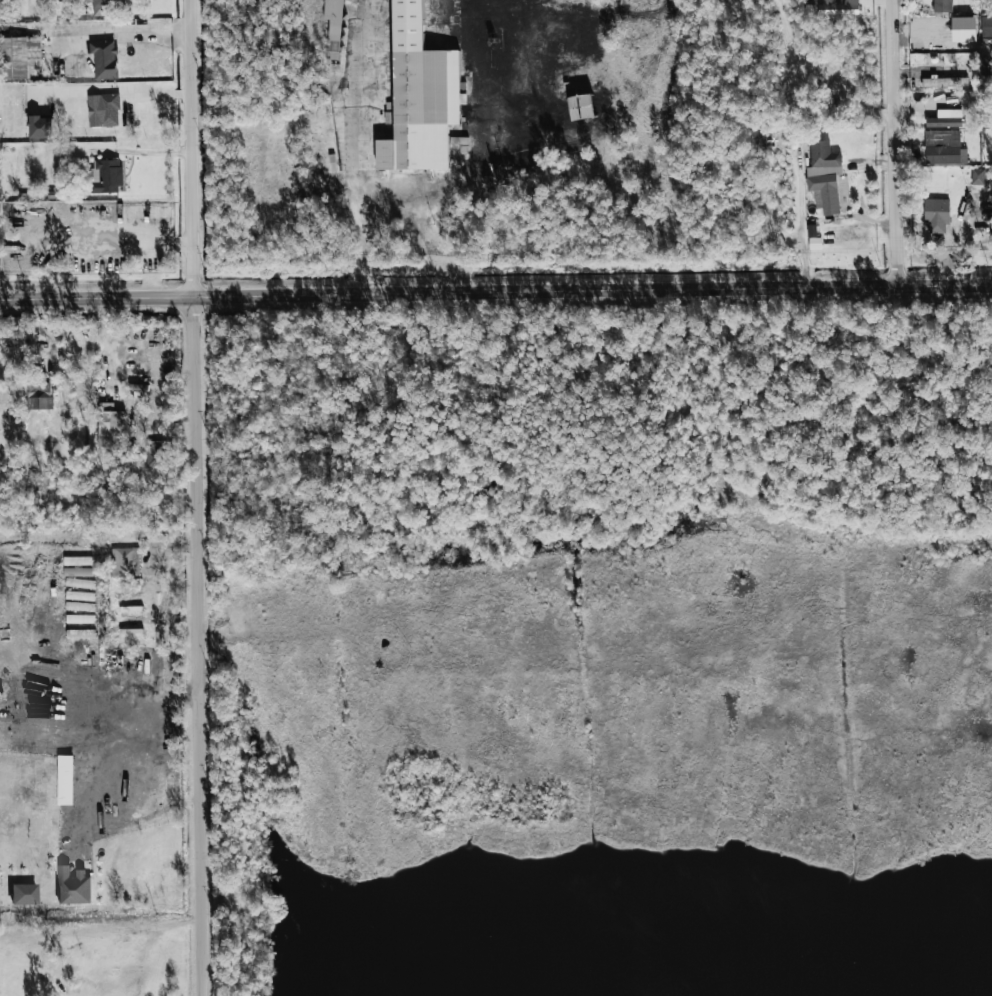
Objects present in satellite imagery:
building: (942, 6)
building: (101, 7)
building: (839, 7)
building: (334, 27)
building: (986, 27)
road: (110, 29)
building: (18, 56)
building: (104, 59)
building: (497, 85)
building: (420, 96)
road: (354, 105)
building: (103, 110)
building: (945, 119)
building: (40, 127)
building: (460, 143)
road: (892, 143)
building: (944, 148)
building: (557, 149)
building: (824, 176)
building: (977, 176)
building: (105, 177)
road: (391, 212)
building: (936, 215)
road: (495, 292)
building: (40, 394)
building: (110, 421)
building: (156, 453)
road: (196, 498)
building: (77, 561)
building: (125, 562)
building: (77, 572)
building: (79, 583)
building: (80, 596)
building: (80, 619)
building: (85, 634)
road: (115, 708)
building: (73, 885)
building: (24, 894)

